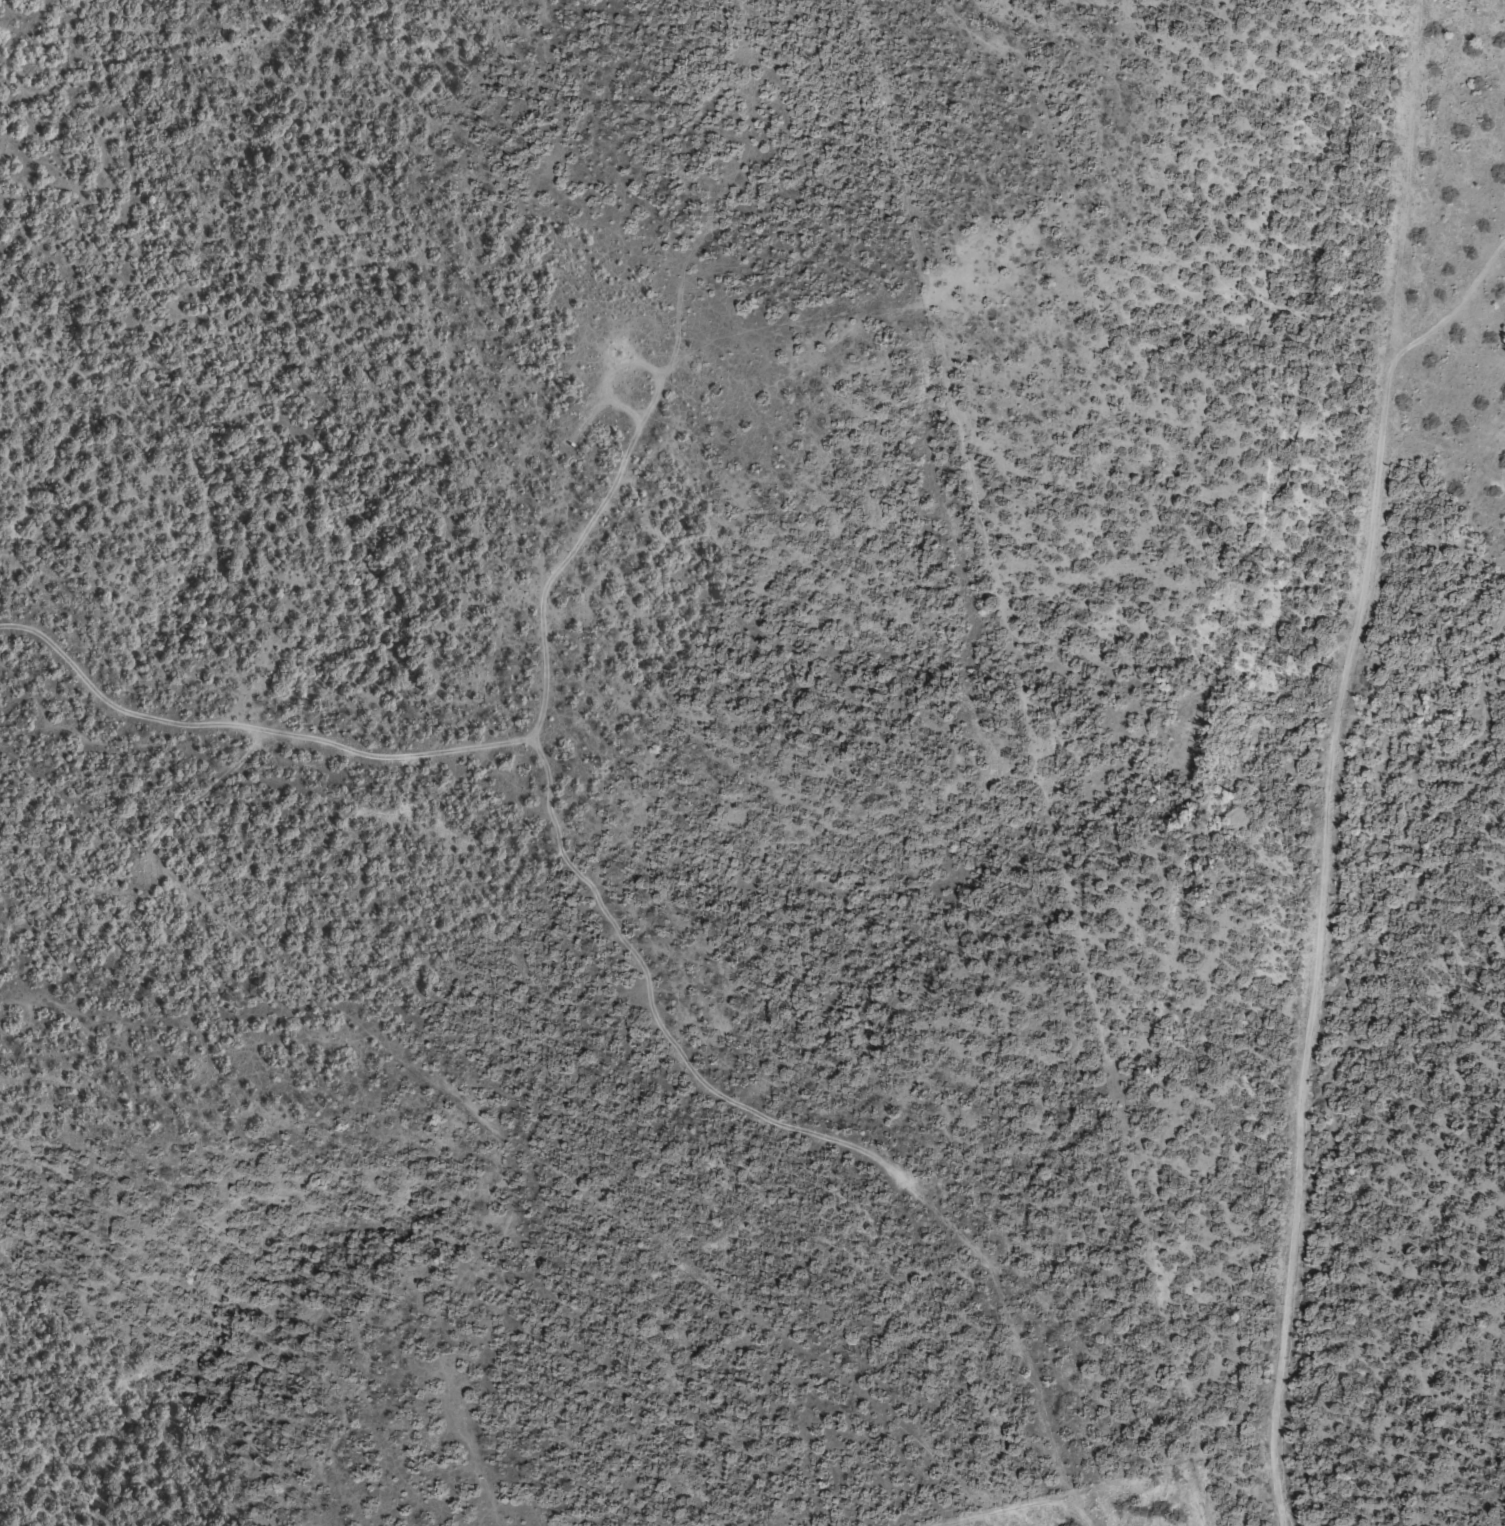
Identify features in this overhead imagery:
road: (1431, 345)
road: (1352, 762)

